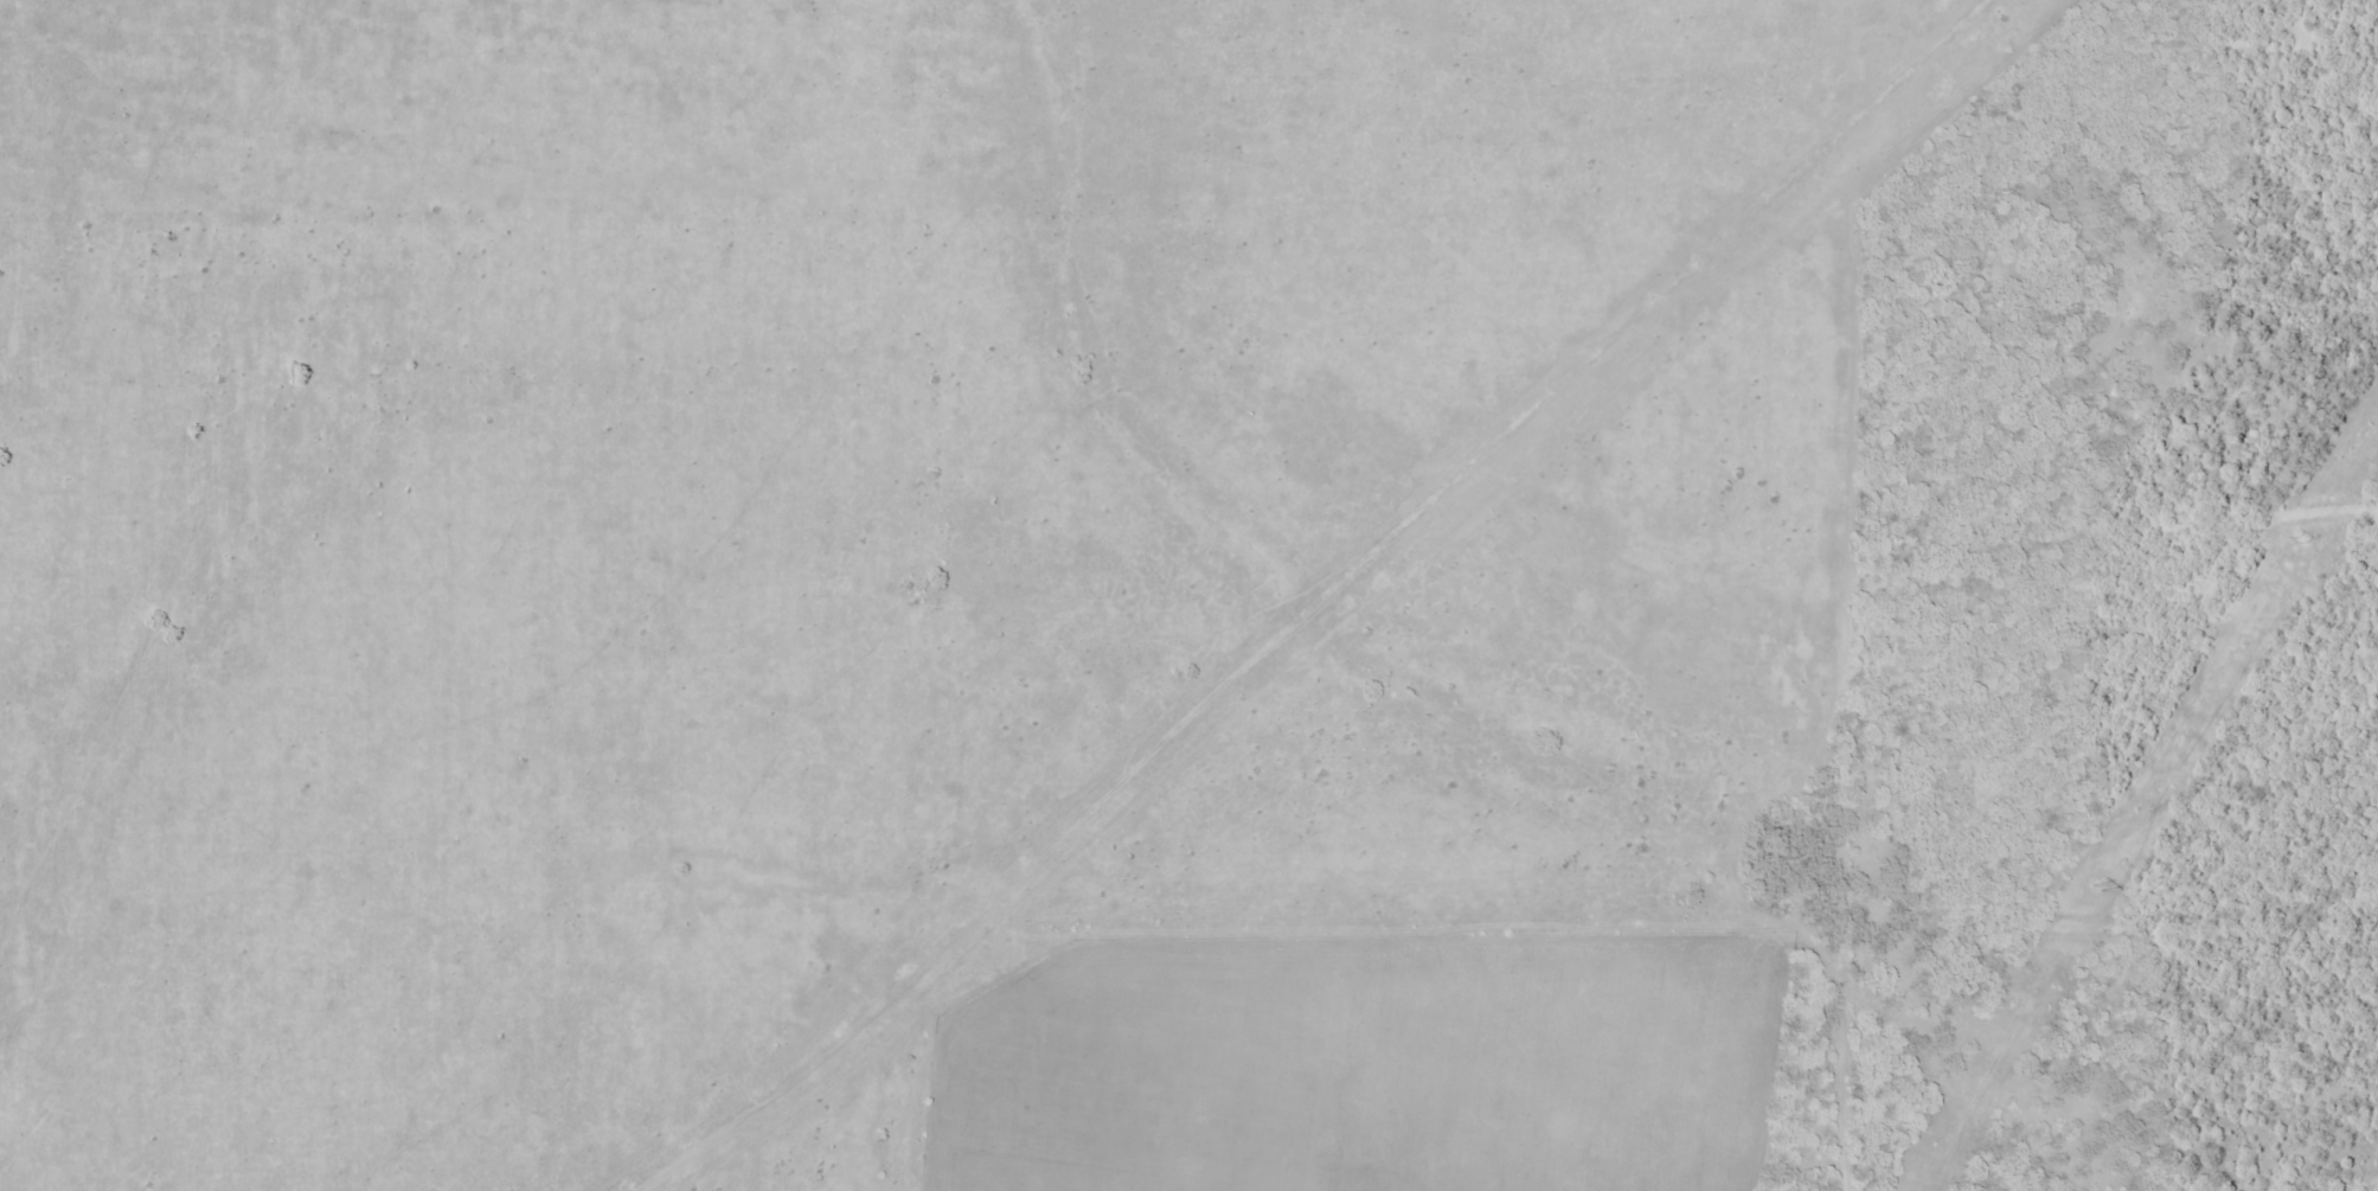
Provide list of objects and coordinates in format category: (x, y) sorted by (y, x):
power tower: (2301, 537)
power tower: (2092, 886)

